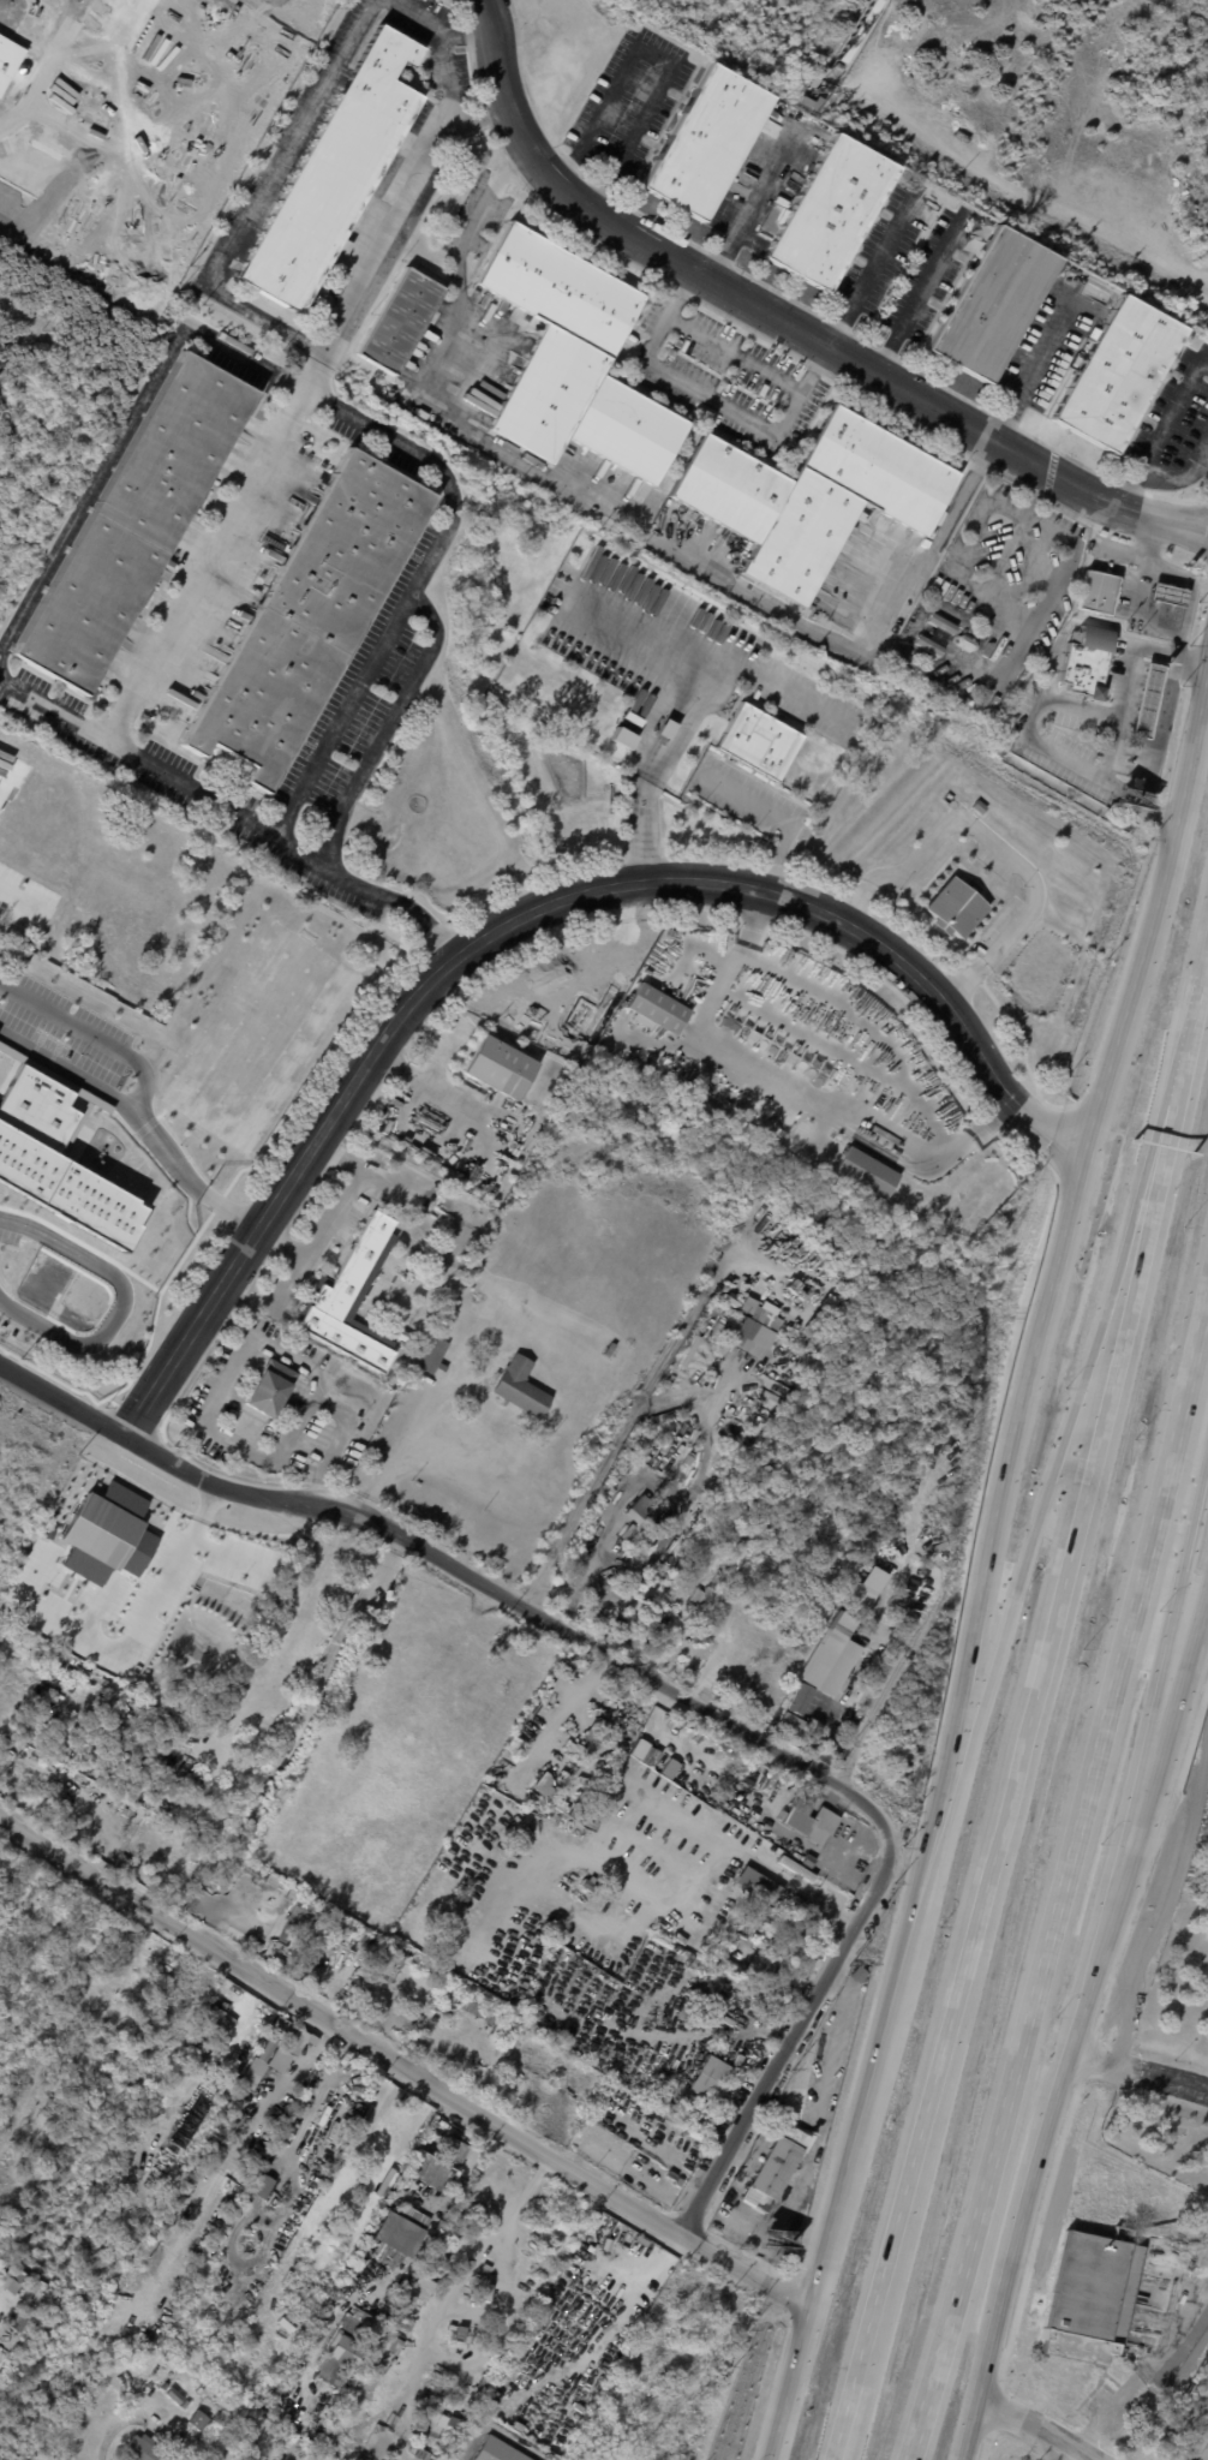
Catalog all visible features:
road: (437, 29)
building: (862, 30)
road: (657, 55)
building: (7, 58)
road: (445, 79)
building: (814, 103)
building: (707, 142)
road: (295, 145)
building: (334, 175)
road: (754, 199)
building: (832, 211)
road: (596, 217)
road: (472, 222)
road: (872, 265)
road: (921, 292)
building: (993, 304)
building: (400, 321)
road: (268, 322)
road: (735, 354)
road: (485, 362)
building: (575, 362)
road: (1036, 368)
building: (923, 370)
building: (1120, 372)
road: (710, 398)
road: (331, 402)
road: (293, 406)
road: (1173, 406)
road: (1007, 446)
road: (1182, 476)
road: (1130, 482)
building: (813, 496)
building: (134, 523)
road: (701, 568)
building: (1099, 592)
building: (1173, 593)
road: (1138, 599)
building: (310, 616)
building: (937, 633)
building: (1088, 658)
road: (1045, 693)
road: (687, 695)
building: (1150, 700)
road: (1113, 710)
building: (635, 718)
road: (387, 726)
building: (671, 729)
building: (624, 738)
building: (759, 741)
road: (227, 810)
road: (78, 812)
road: (781, 817)
road: (997, 838)
road: (525, 908)
building: (953, 908)
building: (656, 1009)
road: (1180, 1062)
building: (498, 1067)
road: (139, 1081)
road: (791, 1089)
building: (862, 1171)
road: (180, 1178)
road: (333, 1216)
building: (403, 1249)
road: (286, 1280)
building: (352, 1298)
road: (116, 1302)
building: (722, 1310)
building: (761, 1322)
building: (299, 1343)
building: (405, 1345)
building: (435, 1354)
road: (315, 1384)
building: (270, 1387)
building: (522, 1387)
road: (621, 1431)
road: (1052, 1475)
road: (687, 1497)
building: (647, 1510)
building: (728, 1529)
building: (107, 1534)
building: (737, 1560)
road: (456, 1566)
building: (686, 1571)
road: (987, 1575)
road: (572, 1584)
building: (677, 1586)
building: (653, 1587)
building: (705, 1595)
building: (860, 1598)
building: (821, 1656)
road: (1160, 1662)
building: (800, 1698)
building: (791, 1725)
building: (539, 1789)
building: (802, 1819)
road: (1004, 1821)
road: (779, 1879)
road: (1064, 1882)
building: (760, 1886)
building: (794, 1907)
building: (299, 1916)
building: (347, 1934)
building: (1207, 1965)
building: (769, 1968)
building: (861, 1974)
building: (1207, 1983)
building: (471, 2006)
building: (444, 2008)
road: (1076, 2028)
road: (793, 2035)
building: (285, 2042)
building: (512, 2043)
building: (738, 2060)
building: (257, 2064)
road: (1094, 2066)
road: (408, 2068)
road: (1138, 2070)
building: (714, 2079)
building: (738, 2079)
building: (730, 2096)
road: (818, 2133)
road: (672, 2160)
building: (781, 2162)
building: (441, 2165)
building: (396, 2233)
road: (760, 2250)
building: (11, 2280)
building: (418, 2292)
building: (474, 2297)
building: (1092, 2297)
building: (473, 2303)
road: (471, 2311)
road: (431, 2330)
building: (467, 2333)
building: (396, 2343)
building: (381, 2347)
building: (348, 2348)
road: (1138, 2370)
building: (166, 2386)
building: (202, 2389)
building: (175, 2395)
building: (185, 2404)
building: (199, 2419)
road: (1037, 2429)
road: (108, 2430)
road: (497, 2431)
parking lot: (1200, 2446)
building: (145, 2449)
building: (498, 2450)

